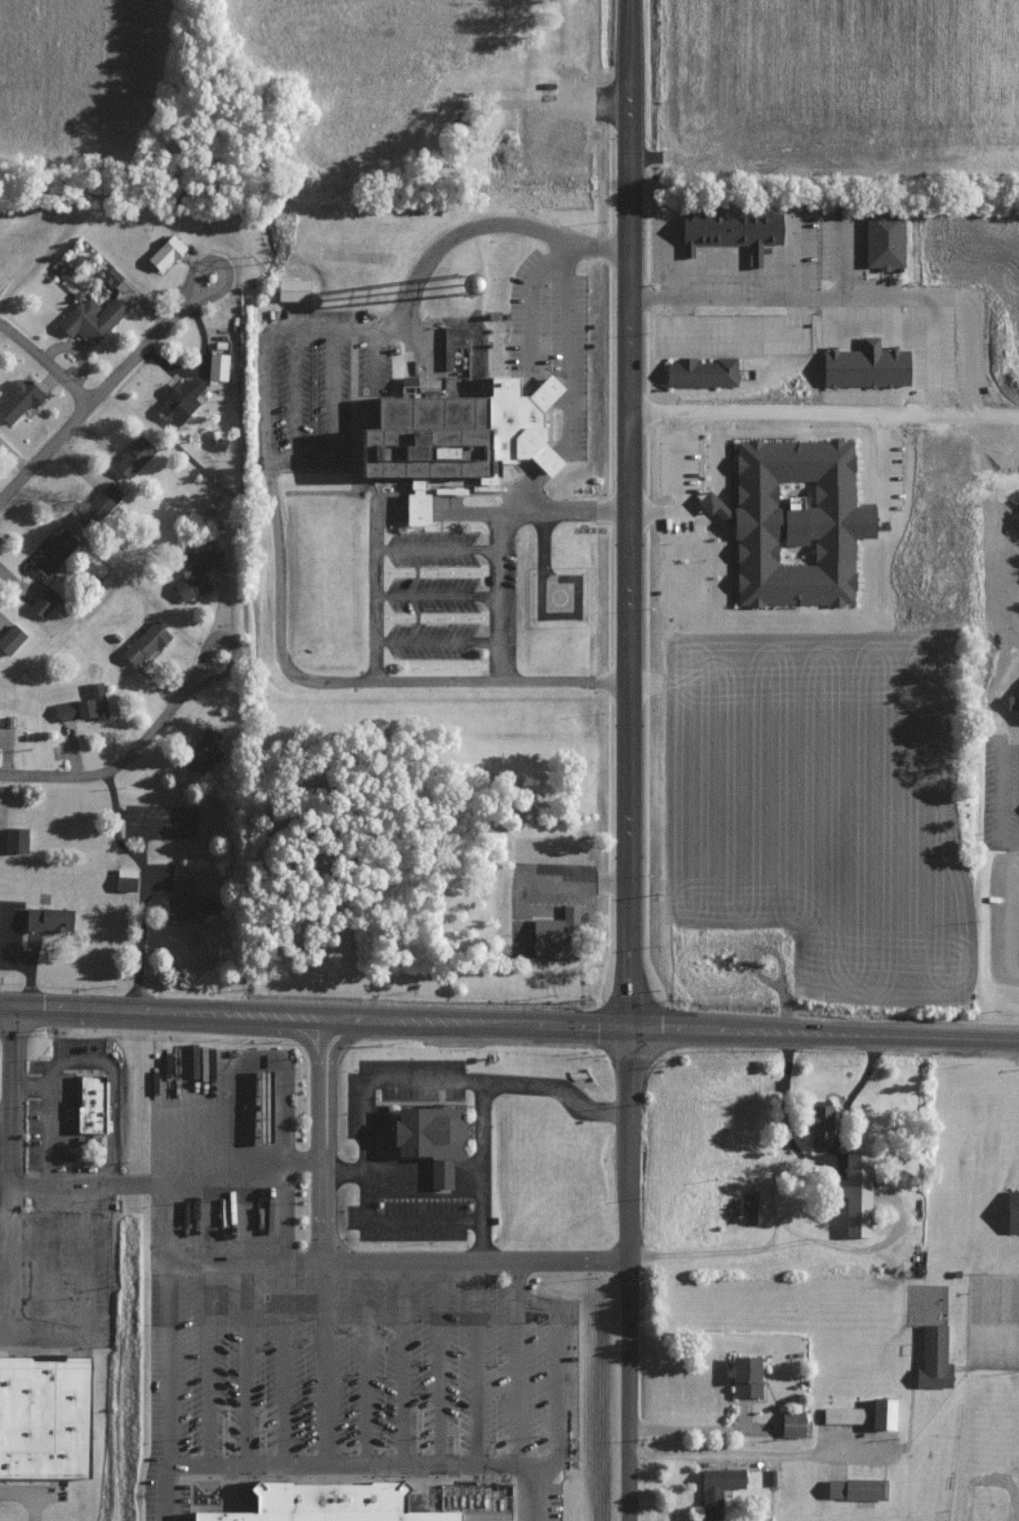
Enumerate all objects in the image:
building: (533, 114)
building: (548, 135)
building: (730, 230)
building: (886, 240)
parking lot: (824, 244)
road: (563, 251)
building: (165, 252)
road: (221, 265)
building: (448, 275)
water tower: (463, 285)
building: (294, 291)
road: (760, 300)
parking lot: (319, 316)
building: (90, 318)
road: (530, 334)
parking lot: (553, 334)
parking lot: (733, 336)
parking lot: (912, 337)
road: (376, 358)
road: (933, 361)
road: (44, 362)
parking lot: (374, 365)
building: (218, 366)
building: (868, 366)
building: (703, 374)
road: (569, 380)
road: (295, 395)
parking lot: (309, 398)
building: (18, 399)
building: (181, 399)
road: (84, 404)
road: (892, 419)
road: (333, 426)
building: (464, 428)
building: (133, 456)
parking lot: (681, 464)
road: (266, 467)
parking lot: (888, 482)
road: (680, 491)
parking lot: (447, 496)
parking lot: (388, 498)
building: (100, 502)
road: (569, 511)
building: (797, 523)
parking lot: (679, 527)
road: (377, 536)
parking lot: (432, 549)
road: (439, 550)
building: (51, 552)
building: (196, 569)
road: (501, 577)
parking lot: (432, 596)
road: (438, 596)
helipad: (557, 597)
building: (44, 602)
building: (10, 639)
road: (438, 641)
road: (227, 642)
parking lot: (432, 642)
building: (144, 643)
road: (1000, 700)
building: (1013, 703)
building: (83, 705)
building: (205, 749)
road: (626, 760)
road: (108, 771)
parking lot: (1001, 783)
road: (1000, 798)
road: (146, 822)
parking lot: (162, 822)
building: (17, 841)
parking lot: (549, 870)
parking lot: (164, 877)
building: (127, 880)
road: (146, 883)
road: (581, 883)
building: (188, 903)
building: (50, 920)
parking lot: (1004, 920)
parking lot: (11, 936)
building: (558, 937)
road: (12, 959)
traffic signals: (19, 999)
road: (313, 1014)
traffic signals: (627, 1026)
road: (703, 1028)
road: (899, 1033)
parking lot: (79, 1045)
parking lot: (35, 1067)
road: (431, 1081)
road: (111, 1095)
building: (92, 1104)
building: (262, 1106)
road: (7, 1108)
road: (52, 1119)
building: (820, 1127)
parking lot: (52, 1129)
building: (433, 1140)
road: (483, 1153)
road: (238, 1162)
road: (425, 1162)
road: (11, 1166)
parking lot: (368, 1169)
road: (425, 1170)
road: (345, 1173)
road: (425, 1177)
road: (130, 1182)
road: (425, 1184)
building: (855, 1192)
building: (1013, 1212)
road: (24, 1216)
road: (425, 1221)
road: (483, 1241)
road: (788, 1244)
road: (352, 1262)
road: (245, 1263)
parking lot: (55, 1274)
road: (49, 1276)
road: (91, 1276)
road: (206, 1312)
road: (244, 1312)
road: (282, 1312)
parking lot: (993, 1321)
road: (987, 1322)
road: (24, 1335)
parking lot: (338, 1351)
building: (934, 1358)
road: (325, 1362)
road: (364, 1362)
road: (402, 1362)
road: (438, 1362)
road: (515, 1362)
road: (167, 1363)
road: (476, 1363)
road: (557, 1371)
building: (745, 1377)
building: (882, 1414)
building: (843, 1415)
building: (44, 1418)
building: (792, 1424)
road: (752, 1447)
road: (351, 1463)
park: (986, 1463)
building: (718, 1489)
building: (856, 1489)
road: (29, 1491)
road: (162, 1491)
road: (535, 1492)
building: (346, 1504)

